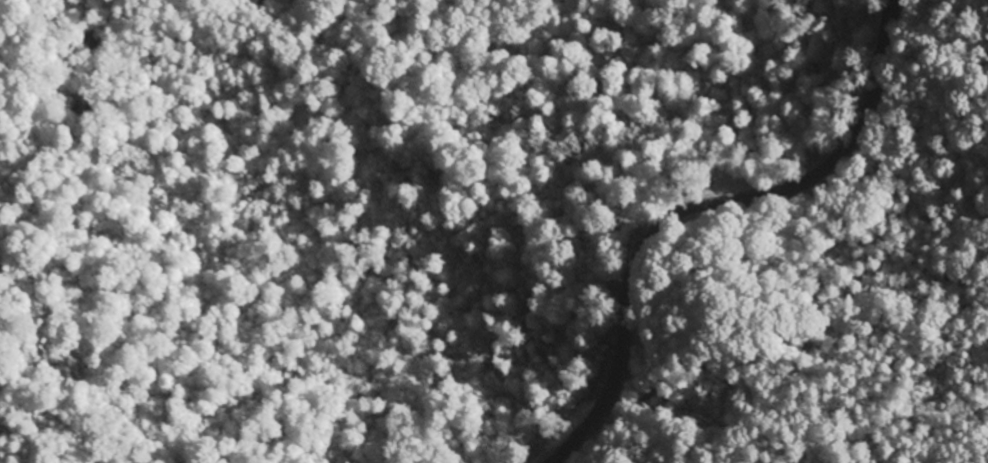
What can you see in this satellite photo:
road: (699, 205)

